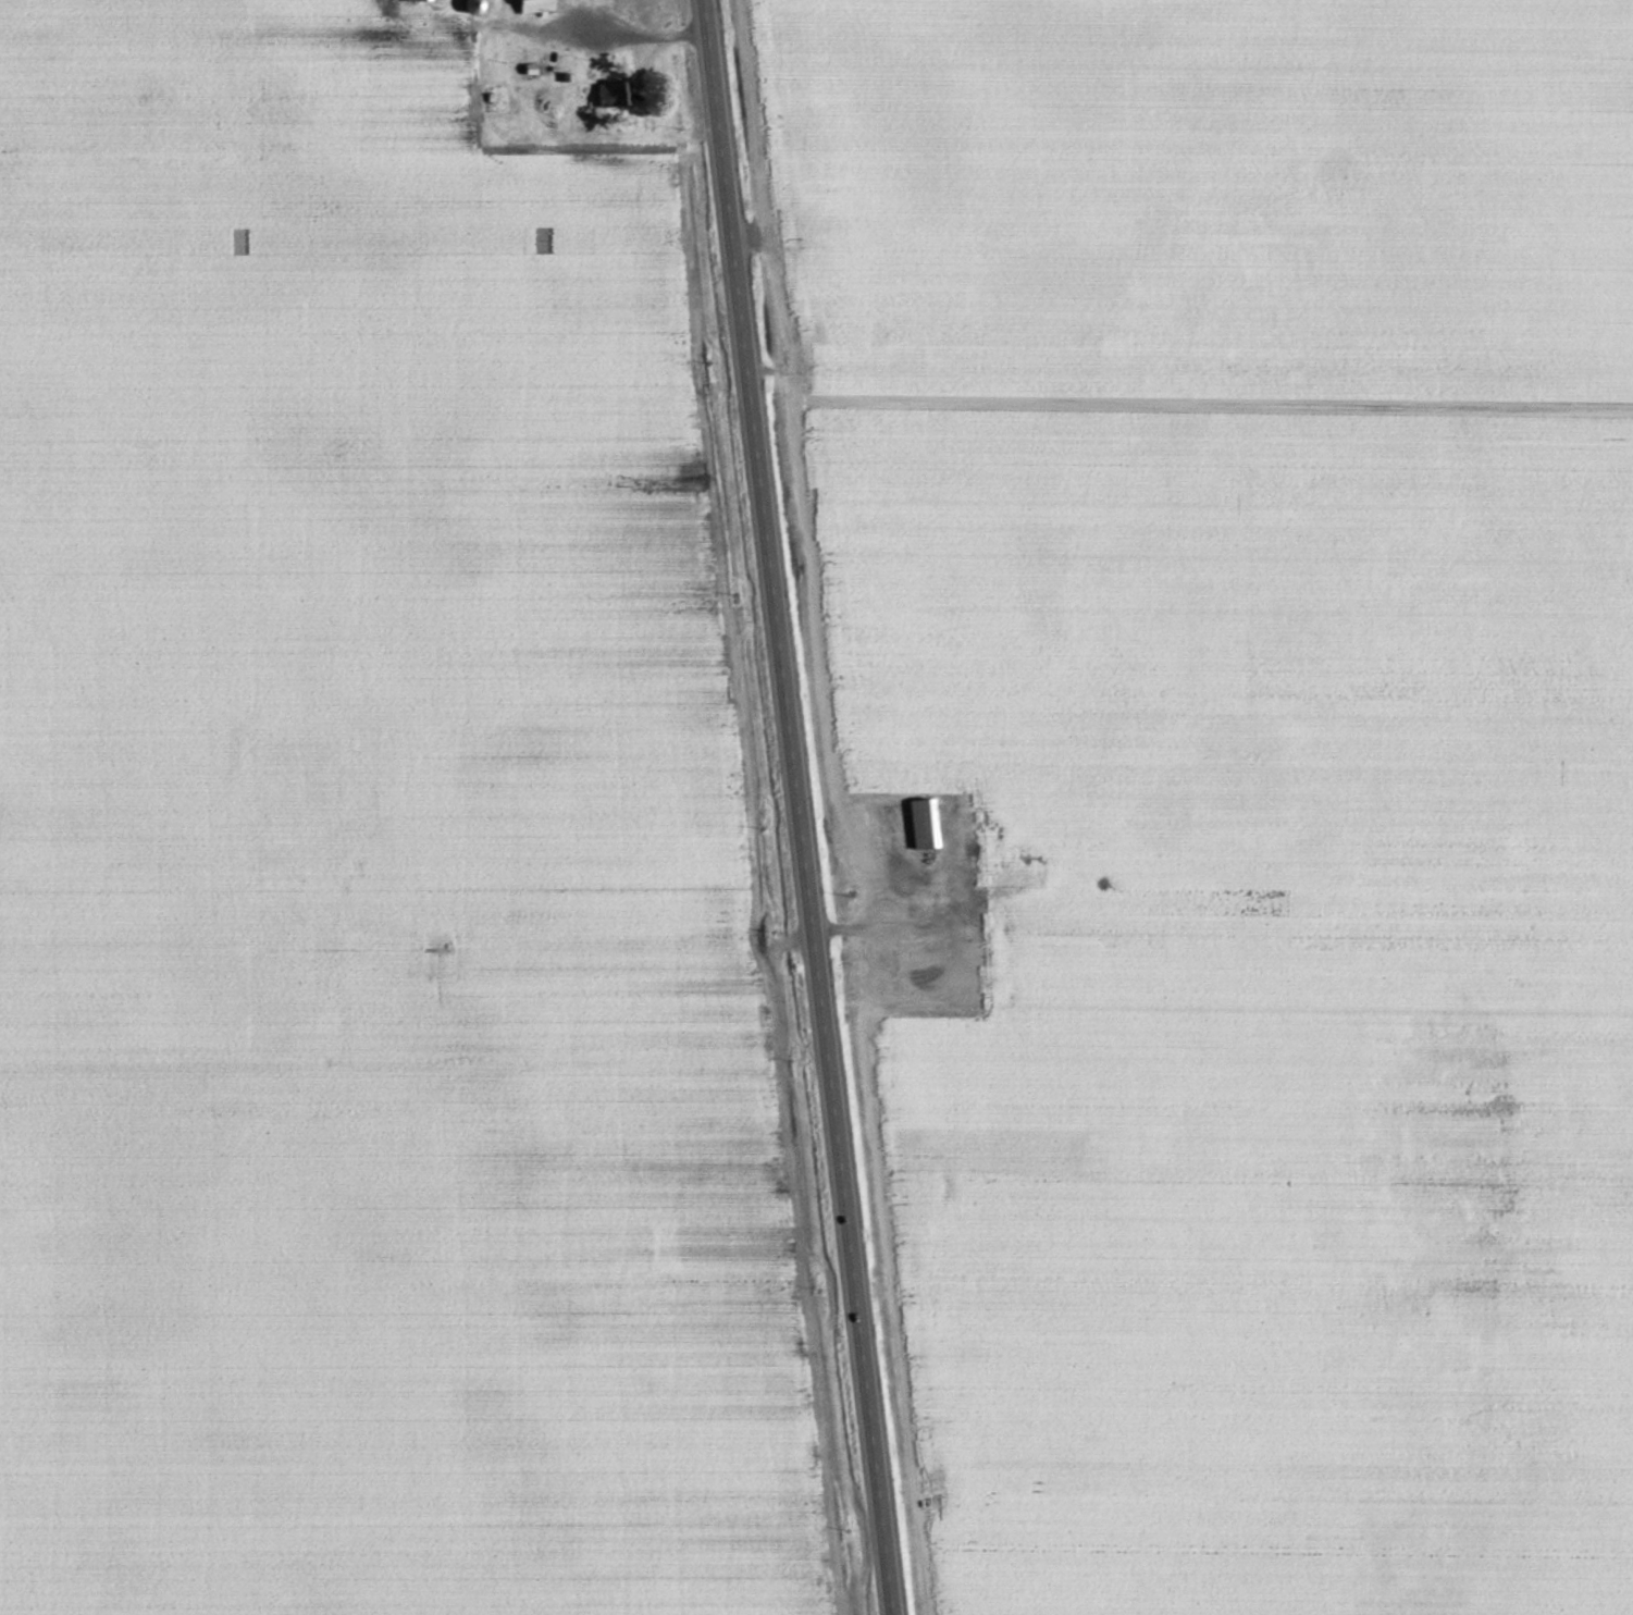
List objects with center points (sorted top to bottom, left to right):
building: (416, 1)
building: (534, 5)
road: (640, 40)
road: (797, 807)
building: (923, 826)
road: (876, 929)

